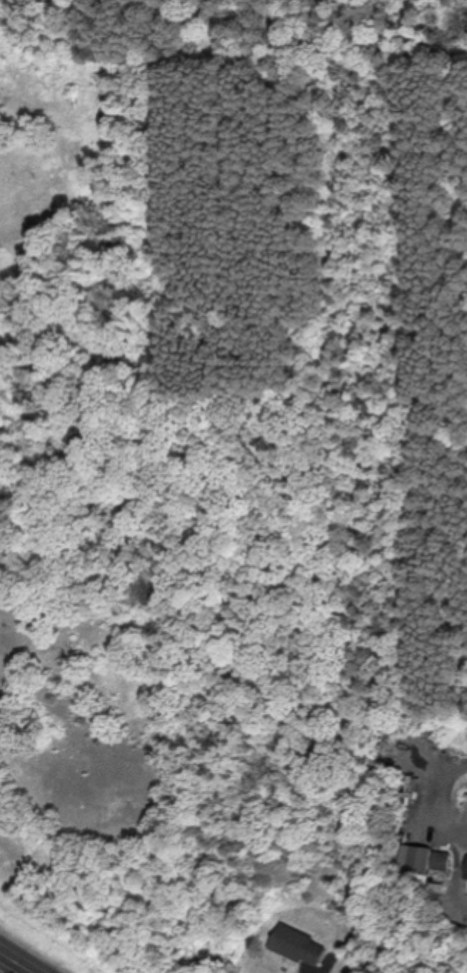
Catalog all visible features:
road: (444, 787)
building: (433, 859)
building: (300, 944)
road: (19, 960)
road: (317, 972)

